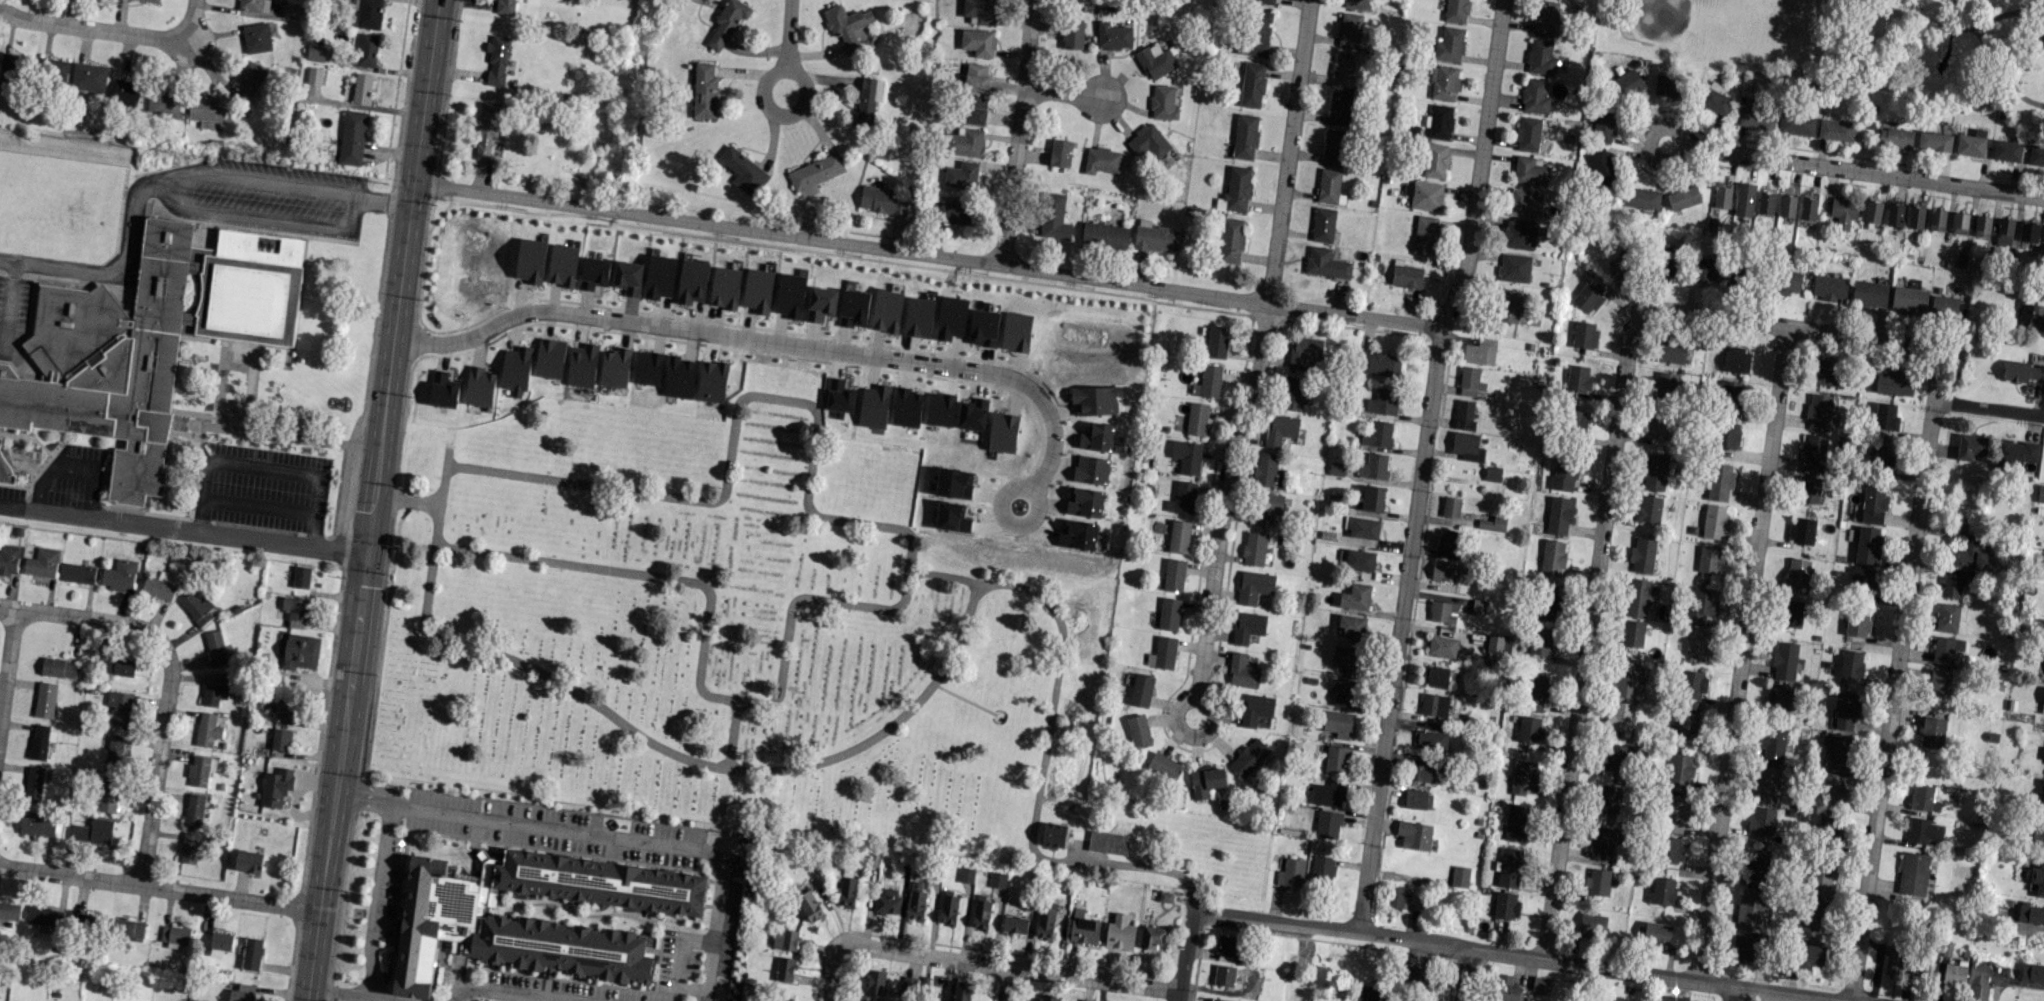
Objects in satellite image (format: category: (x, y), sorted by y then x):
building: (153, 0)
building: (1265, 1)
building: (1356, 4)
building: (253, 5)
building: (506, 6)
building: (289, 10)
building: (980, 10)
building: (1456, 10)
building: (369, 14)
road: (193, 15)
building: (1545, 17)
building: (726, 22)
park: (1678, 23)
building: (847, 26)
road: (91, 28)
road: (1959, 28)
building: (1349, 29)
road: (787, 32)
building: (1256, 32)
building: (1072, 34)
building: (1113, 36)
building: (257, 37)
building: (2043, 37)
building: (978, 41)
park: (1848, 42)
building: (1449, 44)
road: (1986, 45)
building: (367, 49)
building: (316, 53)
road: (197, 55)
building: (1541, 57)
building: (497, 59)
building: (1156, 60)
building: (15, 65)
road: (784, 65)
building: (1347, 69)
building: (52, 70)
building: (315, 75)
building: (89, 76)
building: (976, 77)
building: (247, 80)
building: (1443, 82)
building: (1627, 83)
building: (1252, 84)
building: (1668, 85)
building: (362, 88)
building: (704, 91)
building: (125, 93)
road: (1064, 95)
building: (1535, 95)
building: (1716, 99)
building: (868, 100)
building: (1163, 102)
building: (164, 103)
building: (1341, 108)
building: (206, 109)
building: (974, 109)
building: (1756, 117)
building: (1440, 121)
building: (1796, 123)
building: (1605, 125)
building: (486, 128)
building: (1836, 130)
road: (1017, 133)
building: (1528, 133)
building: (1245, 136)
building: (353, 137)
building: (1895, 138)
building: (1148, 141)
building: (1934, 141)
building: (965, 142)
road: (1647, 143)
building: (1971, 143)
building: (1334, 146)
building: (2006, 150)
building: (1060, 153)
building: (2036, 155)
building: (1101, 160)
building: (1435, 160)
building: (1601, 167)
building: (743, 171)
building: (1529, 171)
road: (1866, 173)
building: (815, 174)
road: (181, 175)
building: (962, 175)
building: (1328, 185)
building: (1236, 189)
building: (1424, 195)
building: (1722, 196)
building: (1640, 197)
building: (1683, 197)
building: (1744, 199)
building: (881, 200)
building: (1524, 203)
building: (1766, 203)
building: (1787, 203)
building: (1808, 207)
building: (1872, 211)
building: (953, 212)
building: (1844, 212)
building: (1894, 214)
building: (1054, 216)
building: (1915, 217)
building: (1937, 220)
building: (1959, 223)
building: (1323, 224)
building: (1982, 225)
building: (2004, 232)
building: (2031, 232)
building: (1519, 234)
building: (1105, 235)
building: (1425, 235)
building: (1155, 238)
building: (1230, 240)
road: (927, 255)
building: (531, 260)
building: (1708, 262)
building: (1325, 263)
building: (1623, 263)
building: (563, 265)
road: (120, 266)
building: (1514, 267)
building: (594, 272)
building: (660, 276)
building: (1406, 276)
building: (628, 277)
building: (692, 281)
building: (1788, 282)
building: (725, 287)
building: (1829, 287)
building: (758, 290)
building: (1869, 294)
building: (790, 295)
building: (1587, 297)
building: (1909, 299)
building: (821, 303)
building: (1508, 305)
building: (1944, 307)
building: (854, 308)
building: (887, 310)
building: (2031, 316)
building: (919, 317)
building: (952, 317)
building: (984, 327)
building: (1016, 331)
building: (1584, 334)
road: (1868, 338)
building: (1217, 341)
building: (146, 342)
road: (822, 350)
building: (1304, 351)
building: (1480, 351)
building: (1670, 352)
building: (550, 358)
building: (1736, 359)
building: (1379, 363)
building: (582, 365)
road: (1253, 366)
building: (615, 367)
building: (648, 367)
building: (516, 369)
building: (2024, 369)
building: (1823, 371)
building: (679, 377)
building: (1578, 378)
building: (1210, 380)
building: (712, 381)
building: (1468, 381)
building: (1895, 382)
building: (480, 386)
building: (1665, 386)
building: (443, 389)
building: (1293, 393)
building: (1730, 394)
building: (840, 397)
building: (1095, 399)
building: (1382, 401)
building: (874, 406)
building: (906, 407)
building: (940, 409)
building: (1819, 411)
building: (972, 414)
building: (1464, 414)
building: (1885, 416)
building: (1197, 418)
building: (1577, 420)
building: (1659, 426)
building: (1280, 429)
building: (1002, 432)
building: (1377, 434)
building: (1728, 434)
building: (1097, 436)
building: (1467, 446)
building: (1970, 446)
building: (2015, 452)
building: (1812, 453)
building: (1880, 455)
building: (1187, 456)
road: (1422, 463)
building: (1374, 466)
building: (6, 468)
road: (260, 468)
building: (1336, 468)
building: (1091, 469)
building: (1265, 469)
road: (68, 470)
building: (1655, 471)
building: (1493, 473)
building: (1563, 474)
building: (1720, 482)
building: (954, 483)
building: (1808, 489)
building: (2040, 494)
building: (1185, 497)
building: (1372, 498)
road: (373, 500)
building: (1084, 502)
building: (1873, 504)
building: (1266, 506)
building: (1450, 507)
building: (1648, 509)
building: (1558, 515)
building: (951, 516)
building: (1714, 520)
building: (1492, 523)
building: (1364, 528)
road: (182, 530)
building: (1802, 530)
building: (1078, 535)
building: (1179, 536)
building: (1447, 539)
building: (1868, 545)
building: (1254, 548)
building: (1643, 549)
road: (908, 550)
traffic signals: (366, 555)
building: (1969, 555)
building: (1552, 557)
building: (9, 559)
building: (1709, 559)
building: (1360, 560)
building: (42, 562)
building: (1445, 571)
building: (1797, 571)
building: (78, 573)
road: (941, 573)
building: (119, 574)
building: (1174, 574)
building: (301, 576)
building: (1862, 580)
building: (160, 585)
building: (1951, 585)
building: (1254, 586)
building: (1355, 597)
building: (1638, 597)
building: (1549, 601)
building: (1702, 604)
building: (1478, 606)
building: (197, 607)
building: (295, 611)
building: (1443, 611)
building: (1169, 613)
building: (1792, 613)
building: (1949, 617)
road: (98, 620)
building: (1856, 624)
building: (1247, 626)
building: (1352, 627)
building: (1447, 633)
building: (1633, 633)
road: (1588, 636)
building: (1544, 641)
building: (1698, 642)
building: (1442, 646)
building: (1497, 646)
building: (216, 647)
building: (301, 651)
building: (1947, 651)
building: (1164, 652)
road: (1739, 652)
park: (766, 655)
road: (7, 659)
building: (1346, 659)
building: (1784, 661)
building: (1851, 663)
building: (58, 667)
building: (116, 667)
building: (1242, 671)
building: (1435, 676)
building: (1625, 679)
building: (1939, 682)
building: (1692, 687)
building: (1141, 690)
building: (1536, 691)
building: (1345, 693)
building: (213, 694)
building: (1779, 696)
building: (45, 699)
road: (1895, 701)
building: (1434, 704)
building: (1256, 708)
building: (119, 709)
building: (1845, 710)
building: (1619, 715)
building: (1339, 723)
building: (1687, 724)
road: (886, 727)
building: (207, 729)
building: (1528, 729)
building: (1138, 730)
building: (1933, 732)
road: (732, 733)
building: (281, 739)
building: (1430, 740)
building: (39, 741)
building: (1773, 743)
building: (1837, 749)
building: (114, 752)
building: (1249, 757)
building: (1615, 757)
building: (1337, 759)
building: (2043, 759)
building: (1164, 766)
building: (200, 770)
building: (1680, 771)
building: (1423, 774)
building: (1523, 776)
road: (153, 777)
building: (1206, 780)
building: (34, 783)
building: (1768, 784)
building: (275, 787)
building: (1834, 787)
building: (1327, 794)
building: (108, 796)
building: (2043, 797)
building: (1610, 798)
building: (1923, 798)
building: (1418, 799)
building: (194, 810)
building: (1677, 810)
building: (1761, 821)
building: (1515, 822)
building: (37, 824)
building: (1327, 824)
parking lot: (556, 829)
building: (1829, 829)
building: (1923, 830)
building: (93, 831)
road: (598, 833)
building: (1053, 834)
building: (1414, 834)
building: (2038, 837)
building: (1605, 840)
building: (1108, 842)
building: (189, 847)
building: (1670, 849)
building: (248, 861)
building: (1757, 866)
building: (1509, 867)
building: (1322, 868)
building: (1291, 872)
building: (1913, 873)
building: (966, 874)
building: (1460, 876)
building: (1823, 878)
building: (2037, 878)
building: (997, 879)
building: (1598, 881)
road: (159, 887)
building: (847, 888)
building: (1663, 890)
road: (376, 899)
building: (1406, 899)
building: (887, 901)
building: (915, 901)
building: (809, 905)
building: (1506, 905)
building: (948, 908)
building: (1753, 908)
building: (9, 910)
building: (1815, 913)
building: (2031, 913)
building: (980, 914)
building: (45, 915)
building: (1045, 919)
building: (86, 921)
building: (1015, 924)
building: (1592, 924)
building: (500, 927)
building: (1083, 928)
building: (129, 929)
building: (1120, 932)
building: (175, 934)
building: (1657, 934)
building: (1153, 936)
building: (785, 939)
building: (221, 940)
building: (1227, 945)
building: (1745, 947)
building: (252, 953)
road: (1509, 954)
road: (1186, 955)
building: (1811, 956)
building: (1894, 961)
building: (1921, 968)
building: (784, 969)
road: (1012, 969)
road: (832, 972)
building: (1955, 972)
building: (2032, 972)
road: (1465, 974)
building: (1224, 975)
building: (1416, 976)
building: (875, 981)
building: (1979, 982)
building: (1540, 984)
road: (1007, 985)
building: (908, 988)
building: (1506, 988)
road: (340, 991)
building: (961, 991)
road: (504, 992)
building: (242, 993)
building: (1375, 994)
road: (1733, 994)
building: (1048, 997)
building: (783, 998)
building: (1673, 998)
road: (385, 999)
building: (872, 1000)
building: (1218, 1000)

